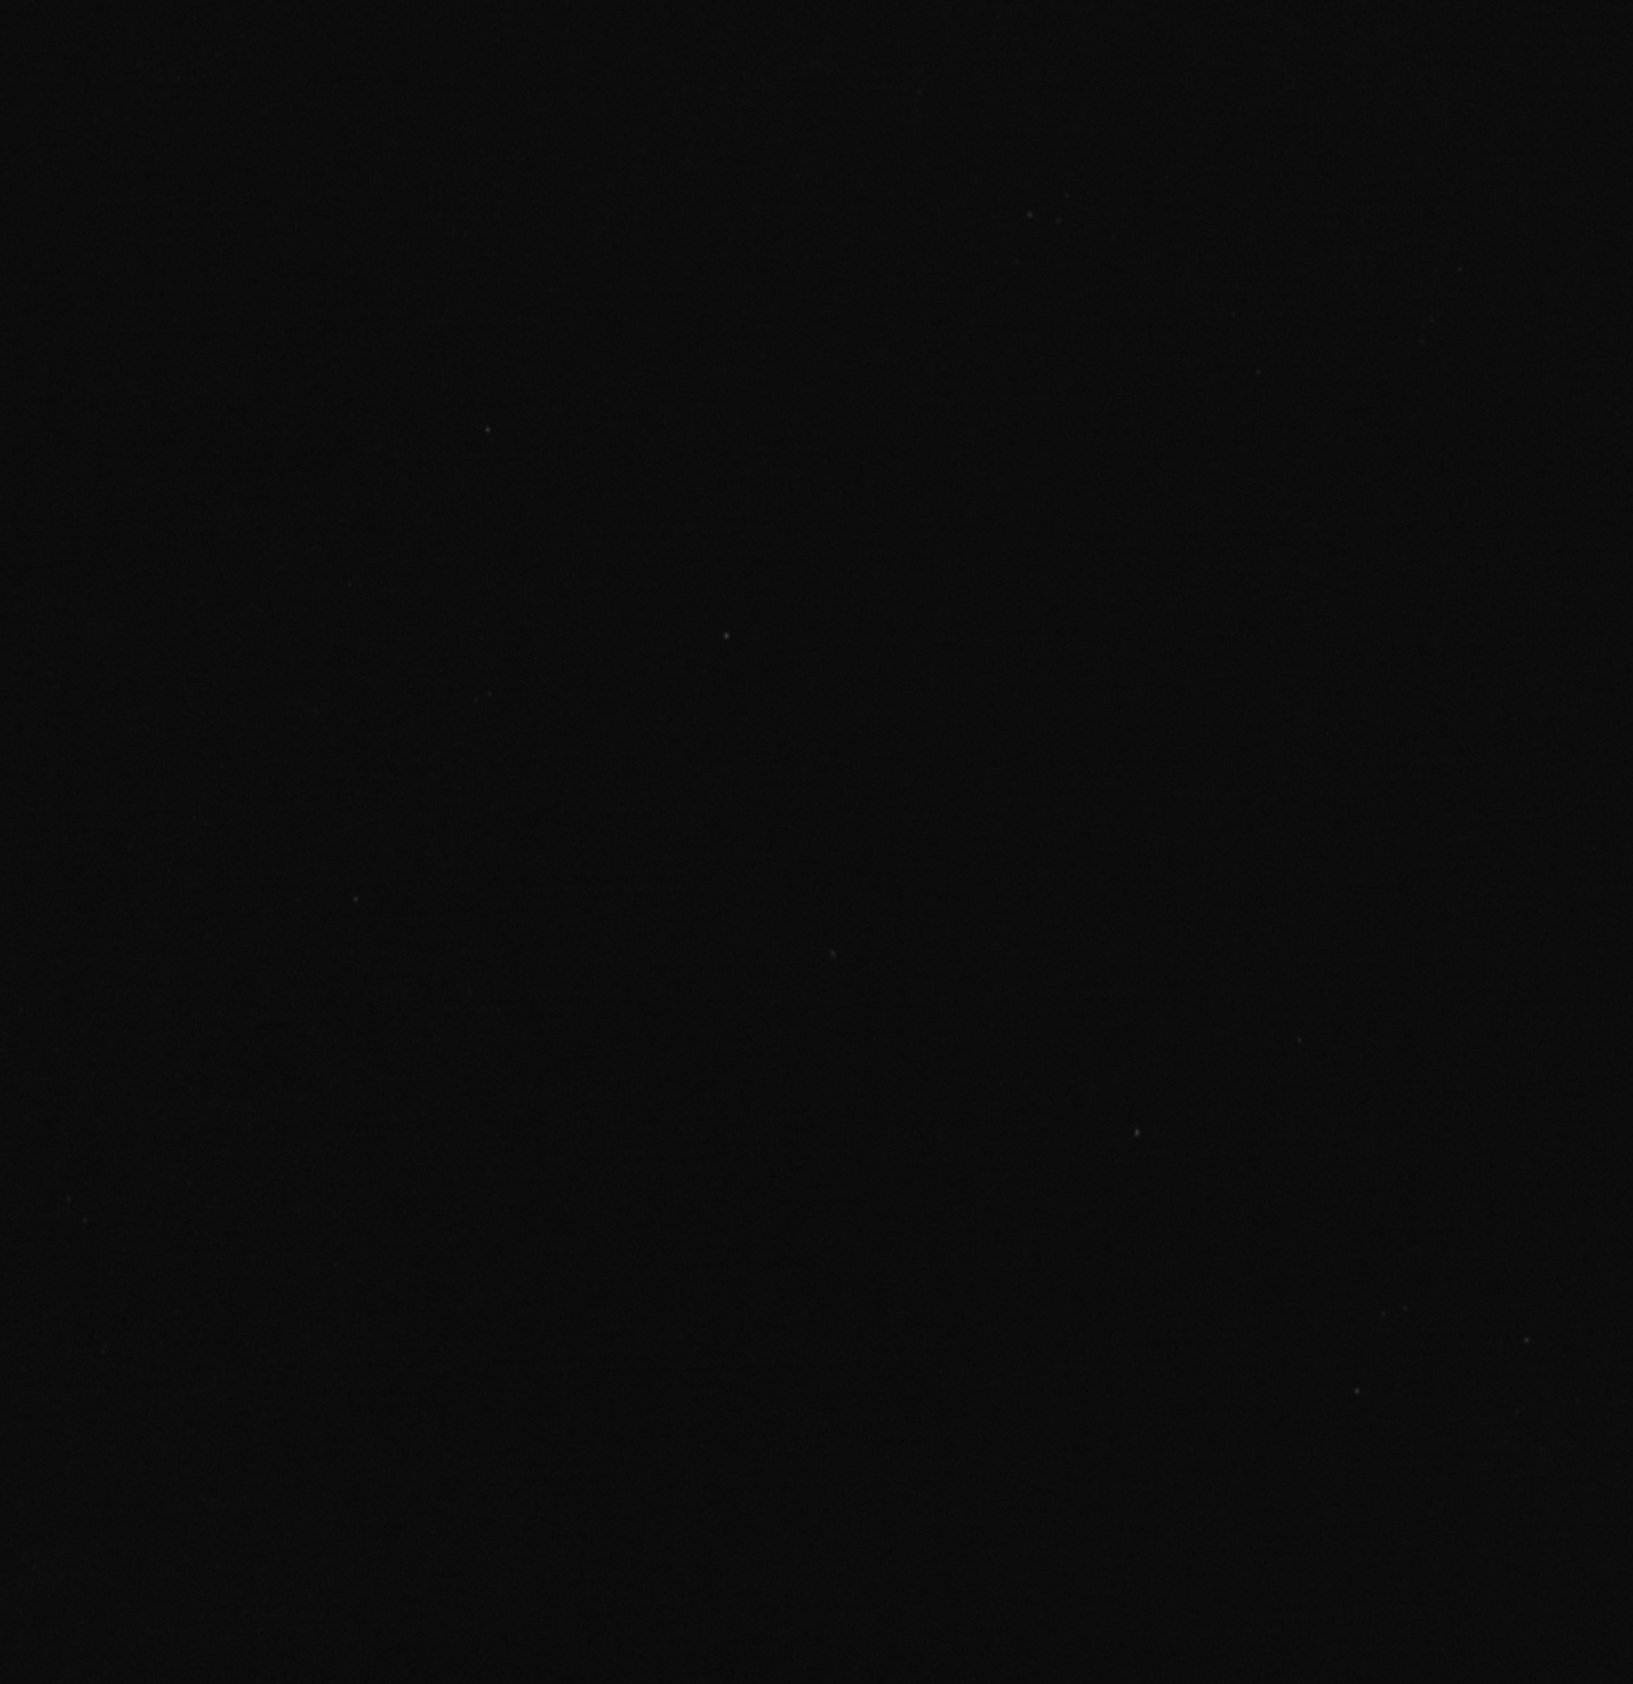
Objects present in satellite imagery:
river: (816, 1418)

